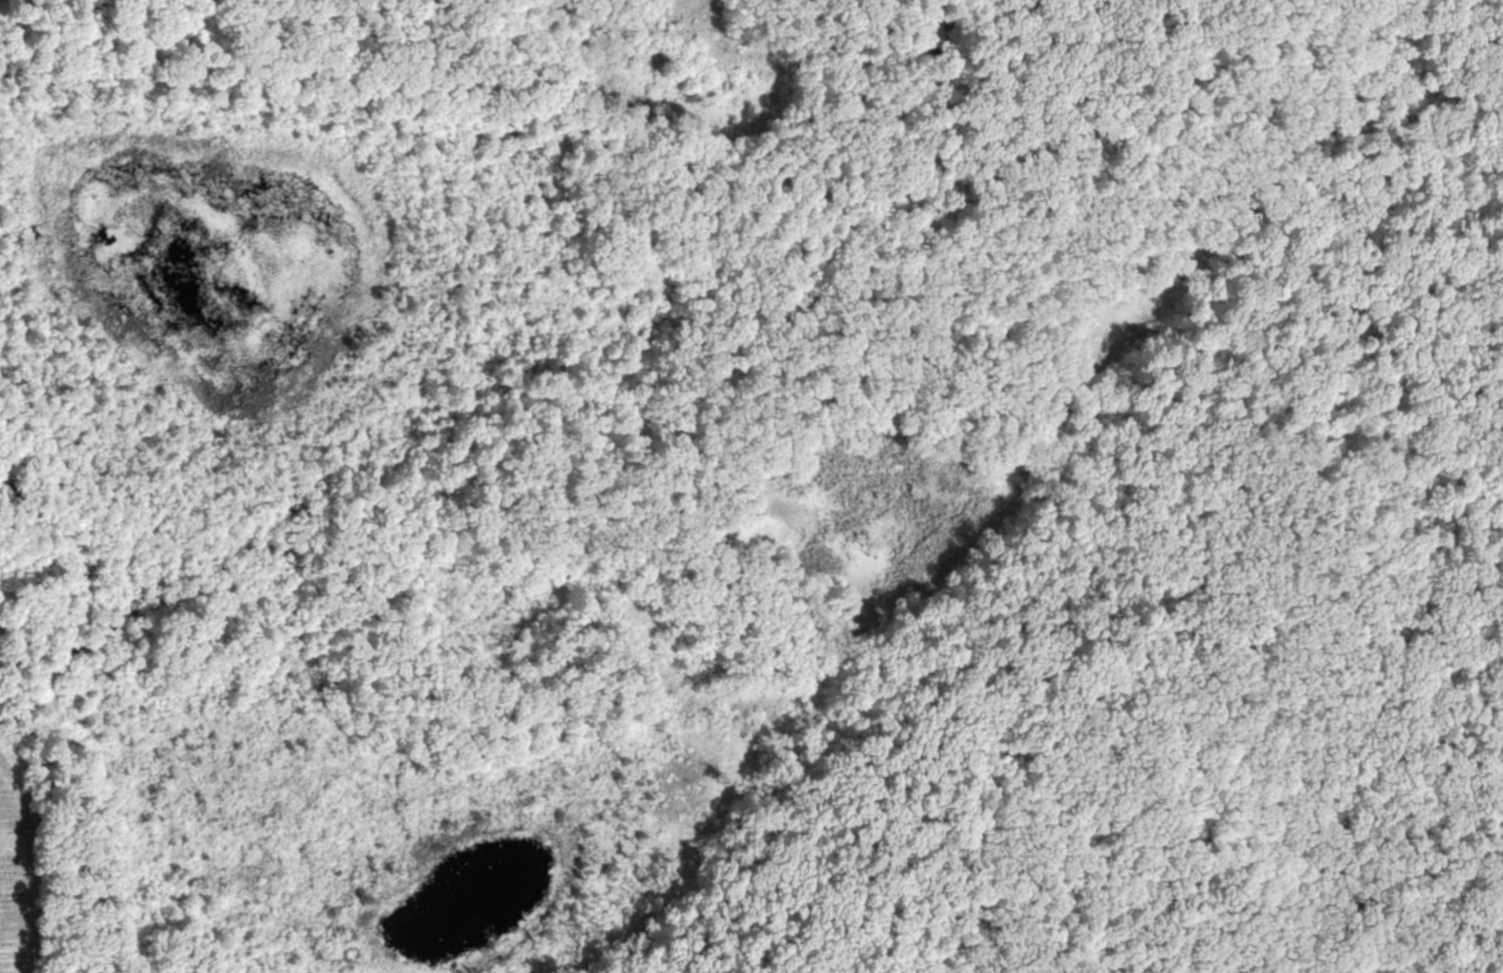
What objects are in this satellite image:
park: (778, 484)
road: (1395, 766)
crop: (17, 872)

